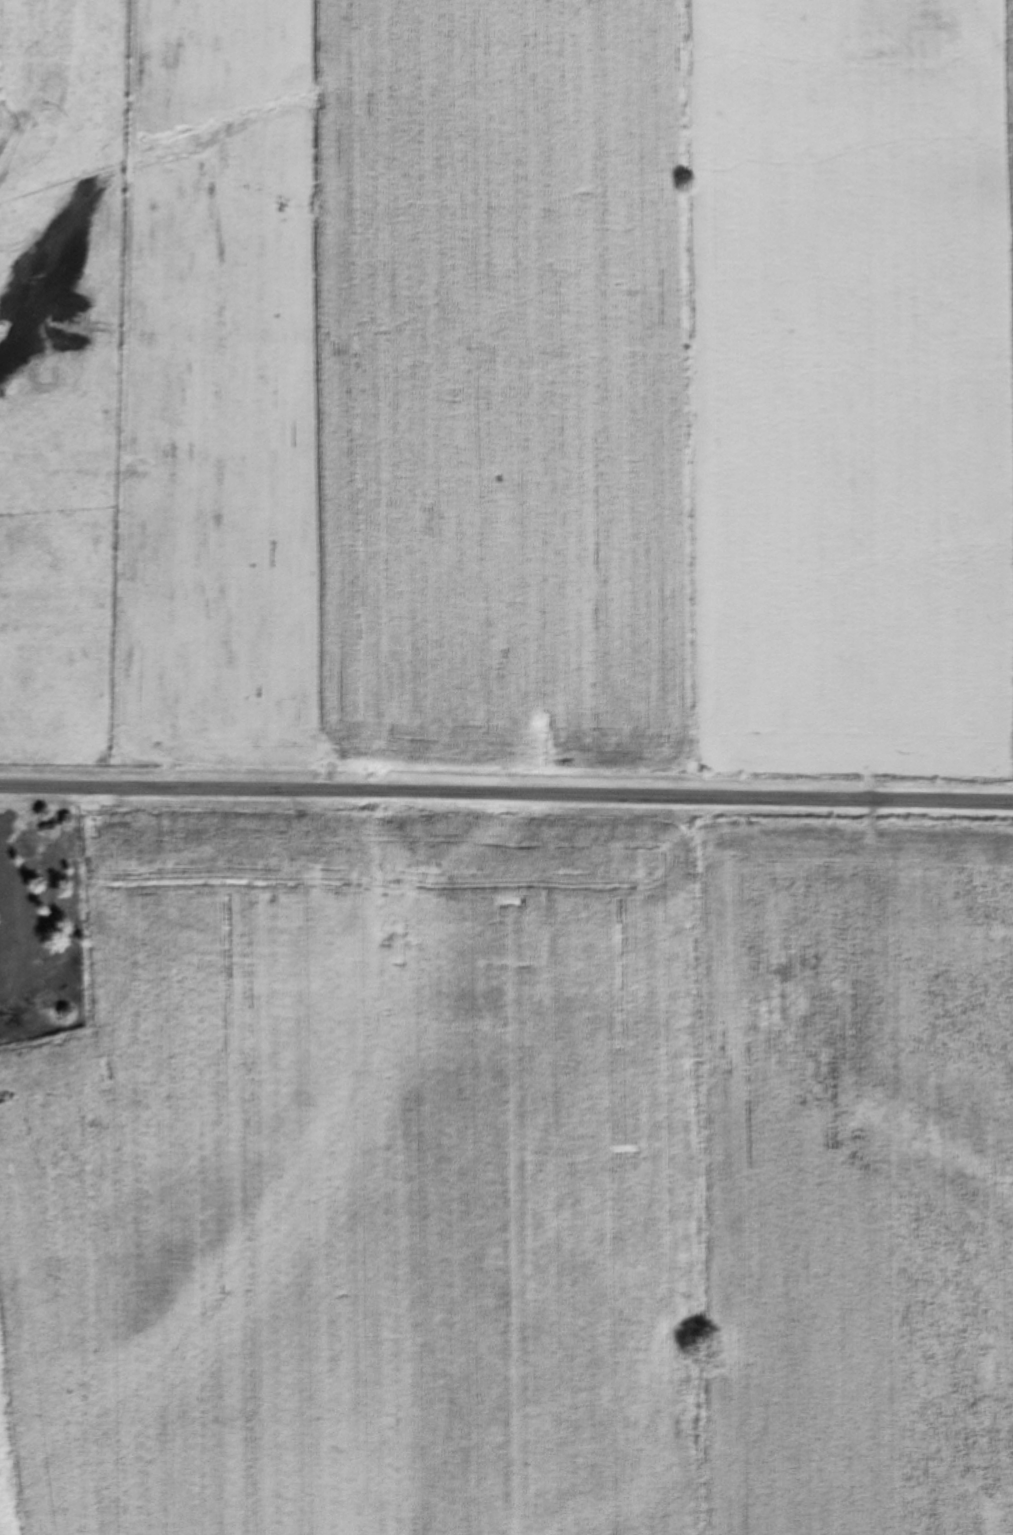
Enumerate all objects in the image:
road: (506, 792)

